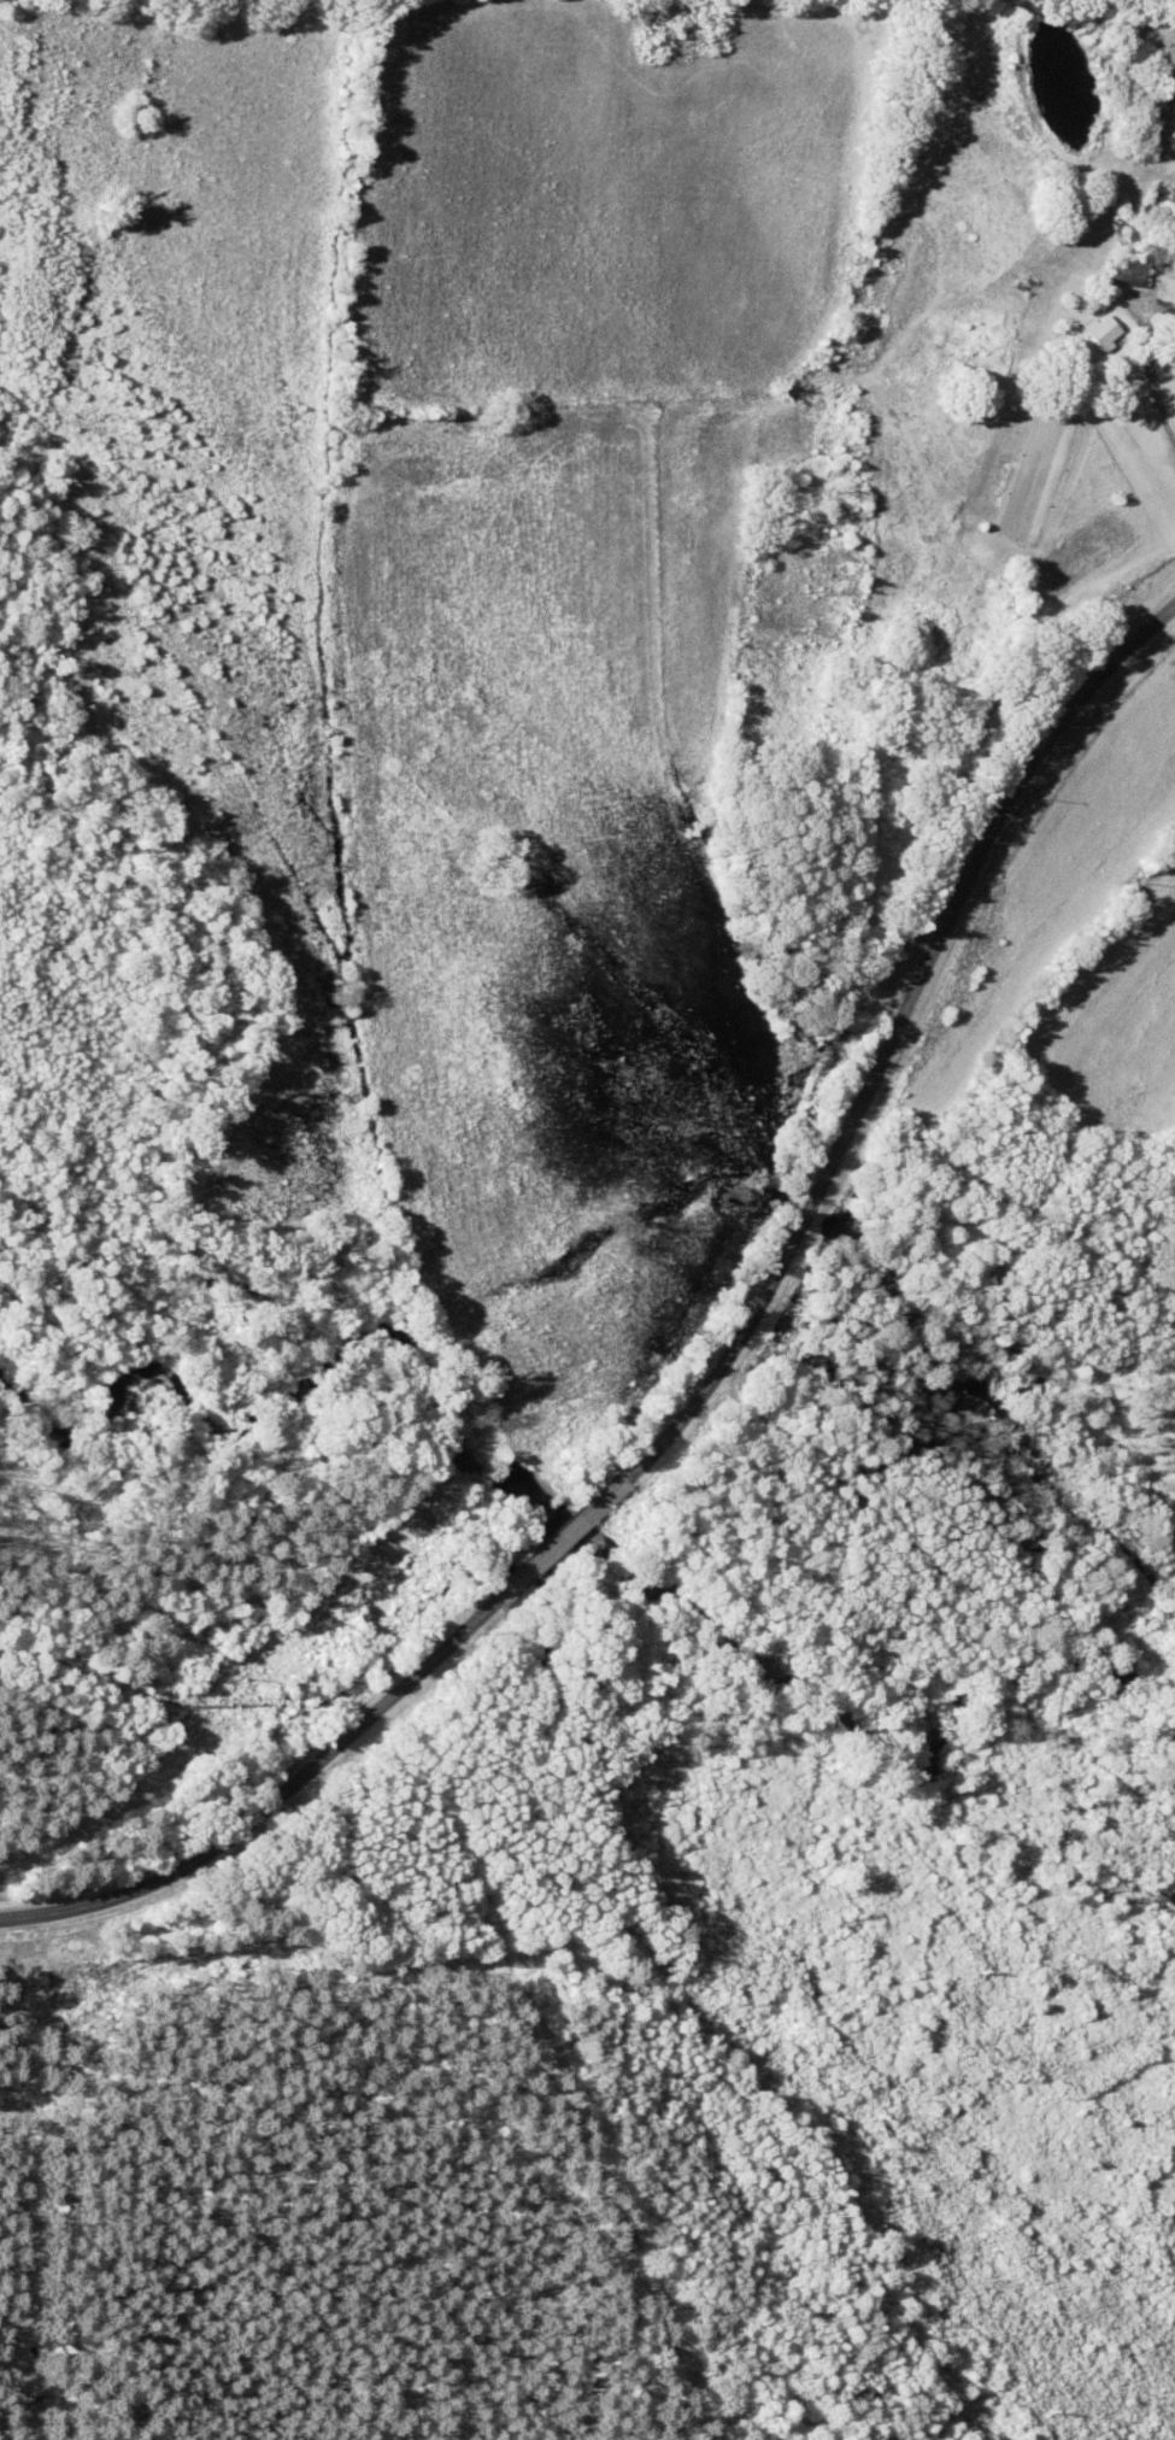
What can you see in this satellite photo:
building: (1157, 200)
building: (1129, 224)
building: (1067, 228)
building: (1140, 262)
building: (1109, 332)
road: (668, 374)
road: (844, 1032)
road: (272, 1747)

